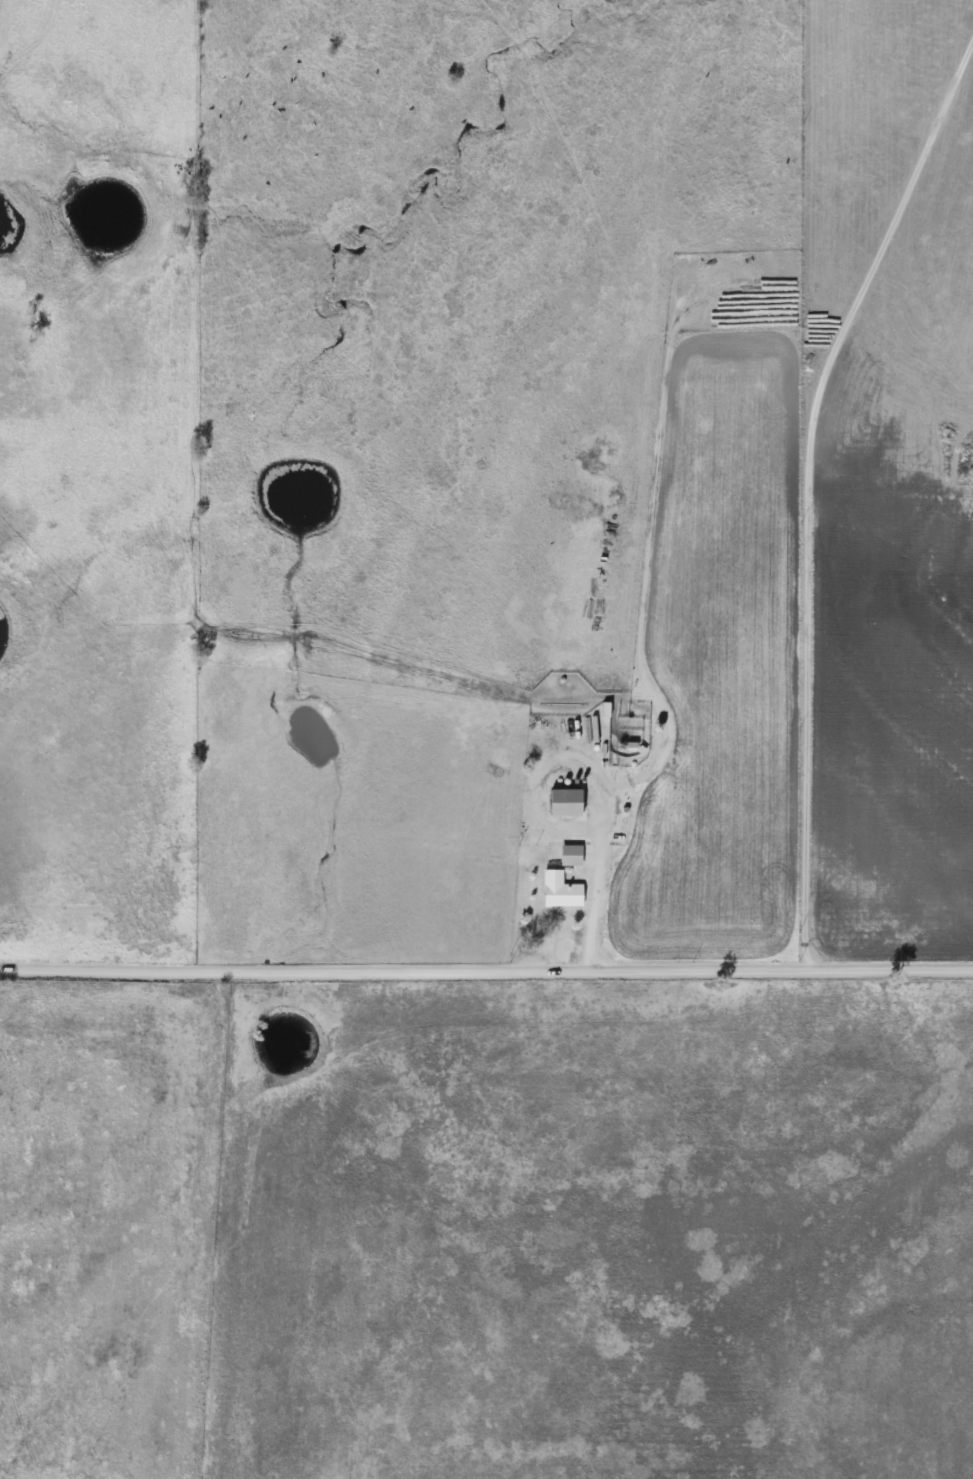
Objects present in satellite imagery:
road: (806, 485)
building: (563, 801)
building: (558, 890)
road: (486, 964)

